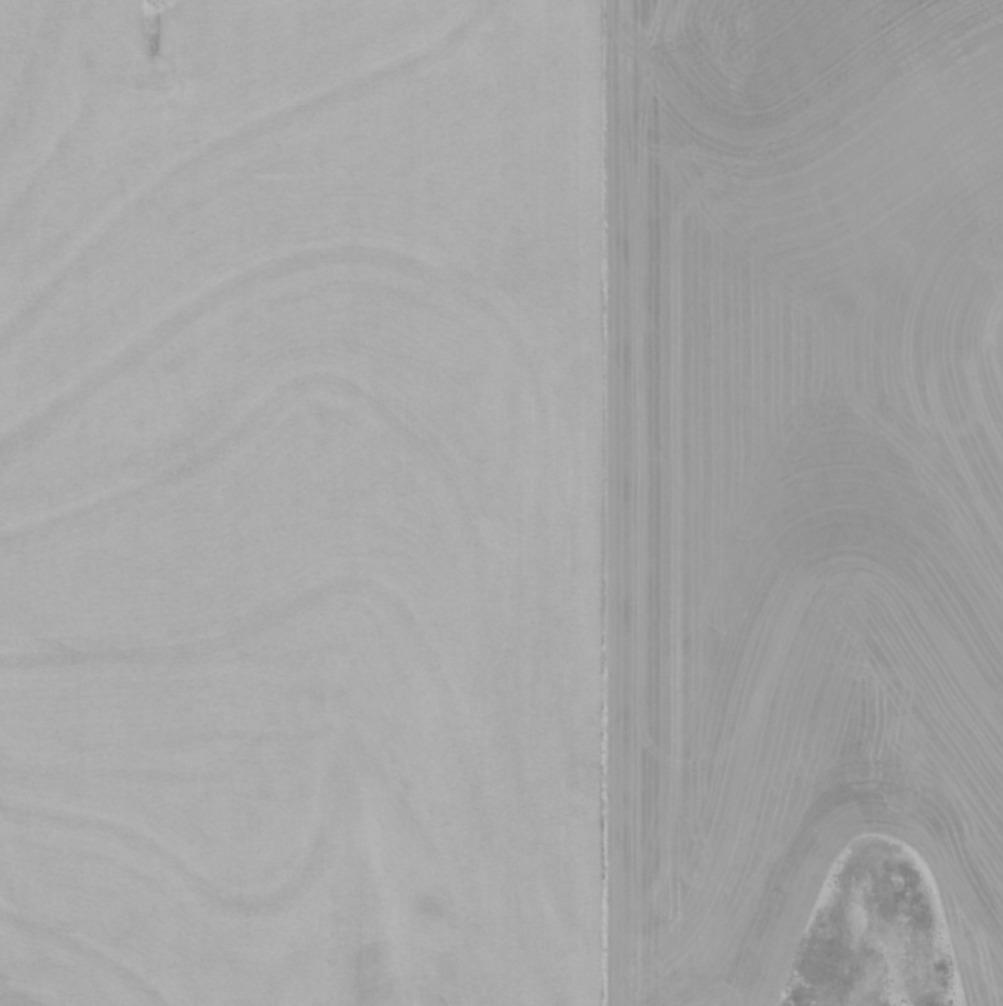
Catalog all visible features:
crop: (802, 476)

